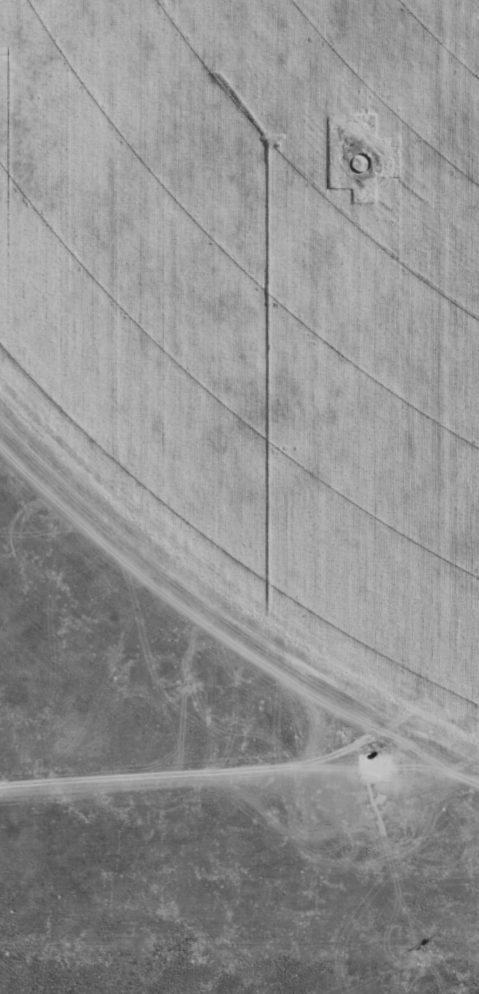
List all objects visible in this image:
crop: (263, 300)

